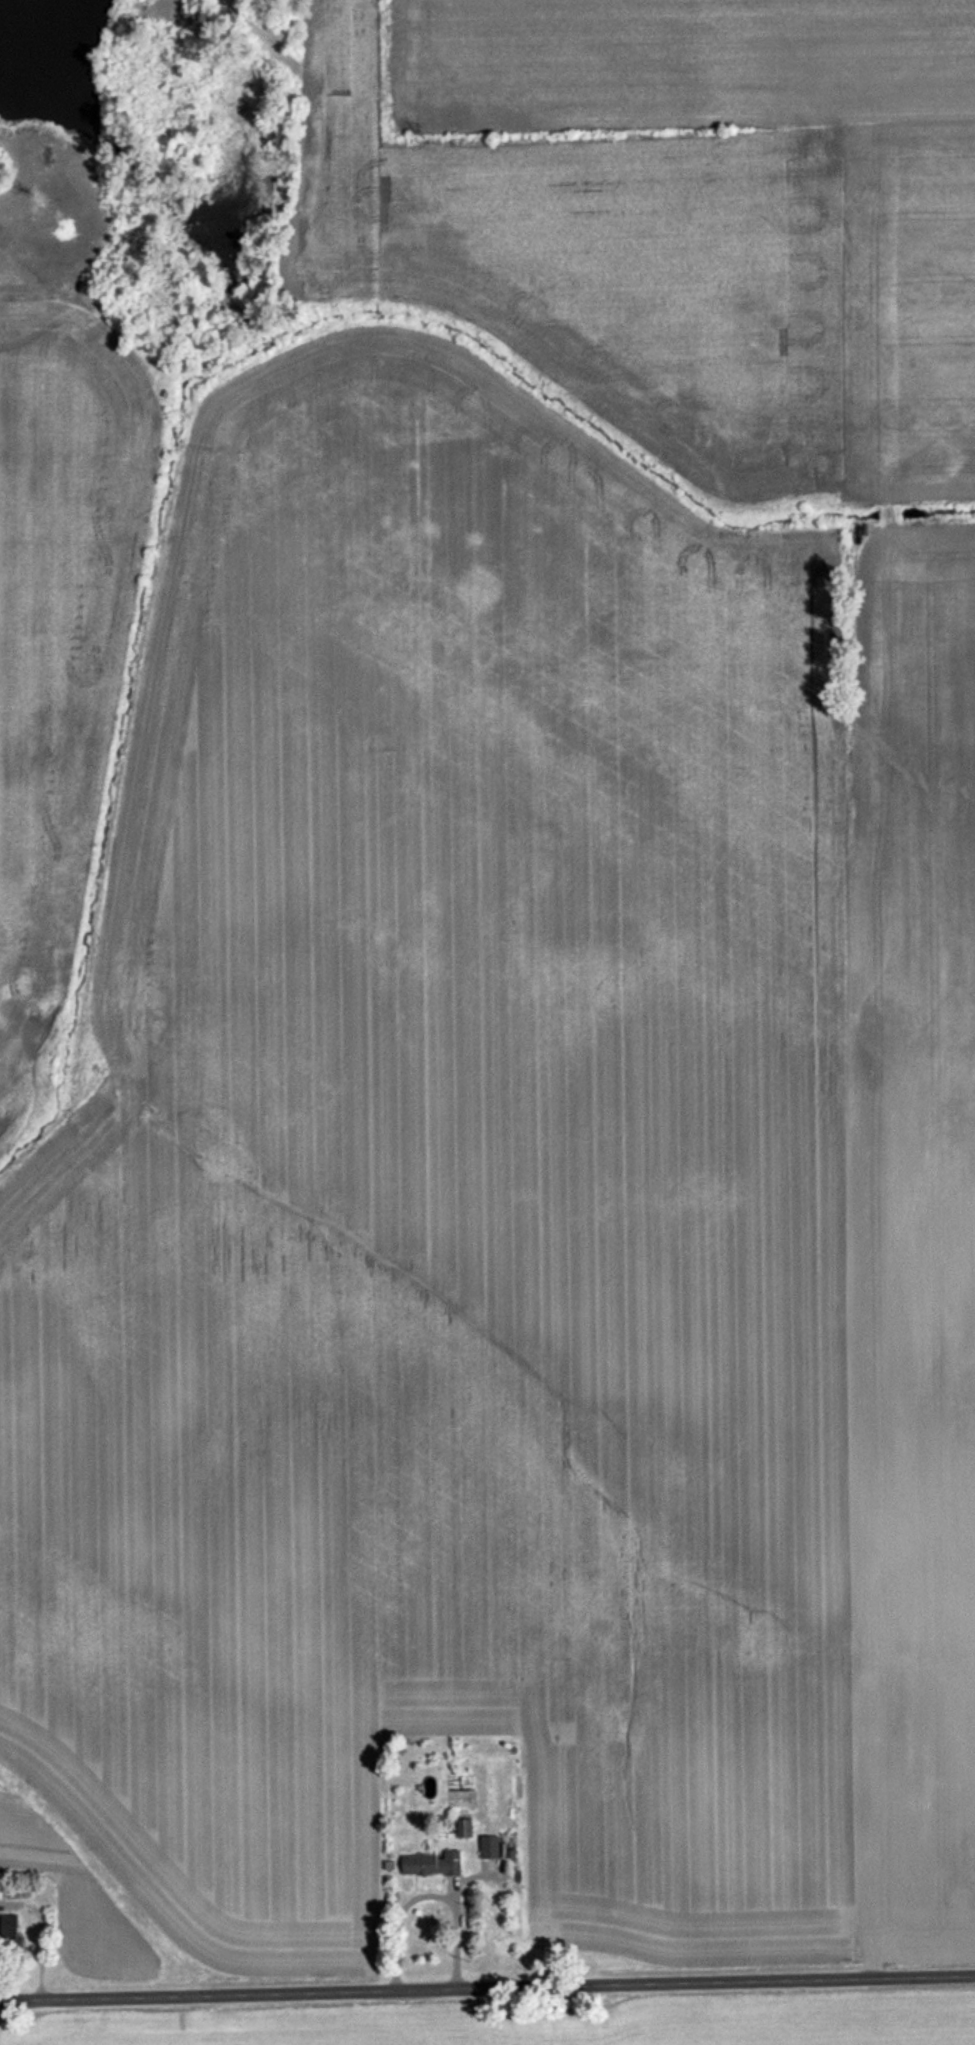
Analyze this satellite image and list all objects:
building: (463, 1828)
building: (488, 1846)
building: (431, 1863)
road: (430, 1891)
building: (7, 1926)
road: (487, 1989)

